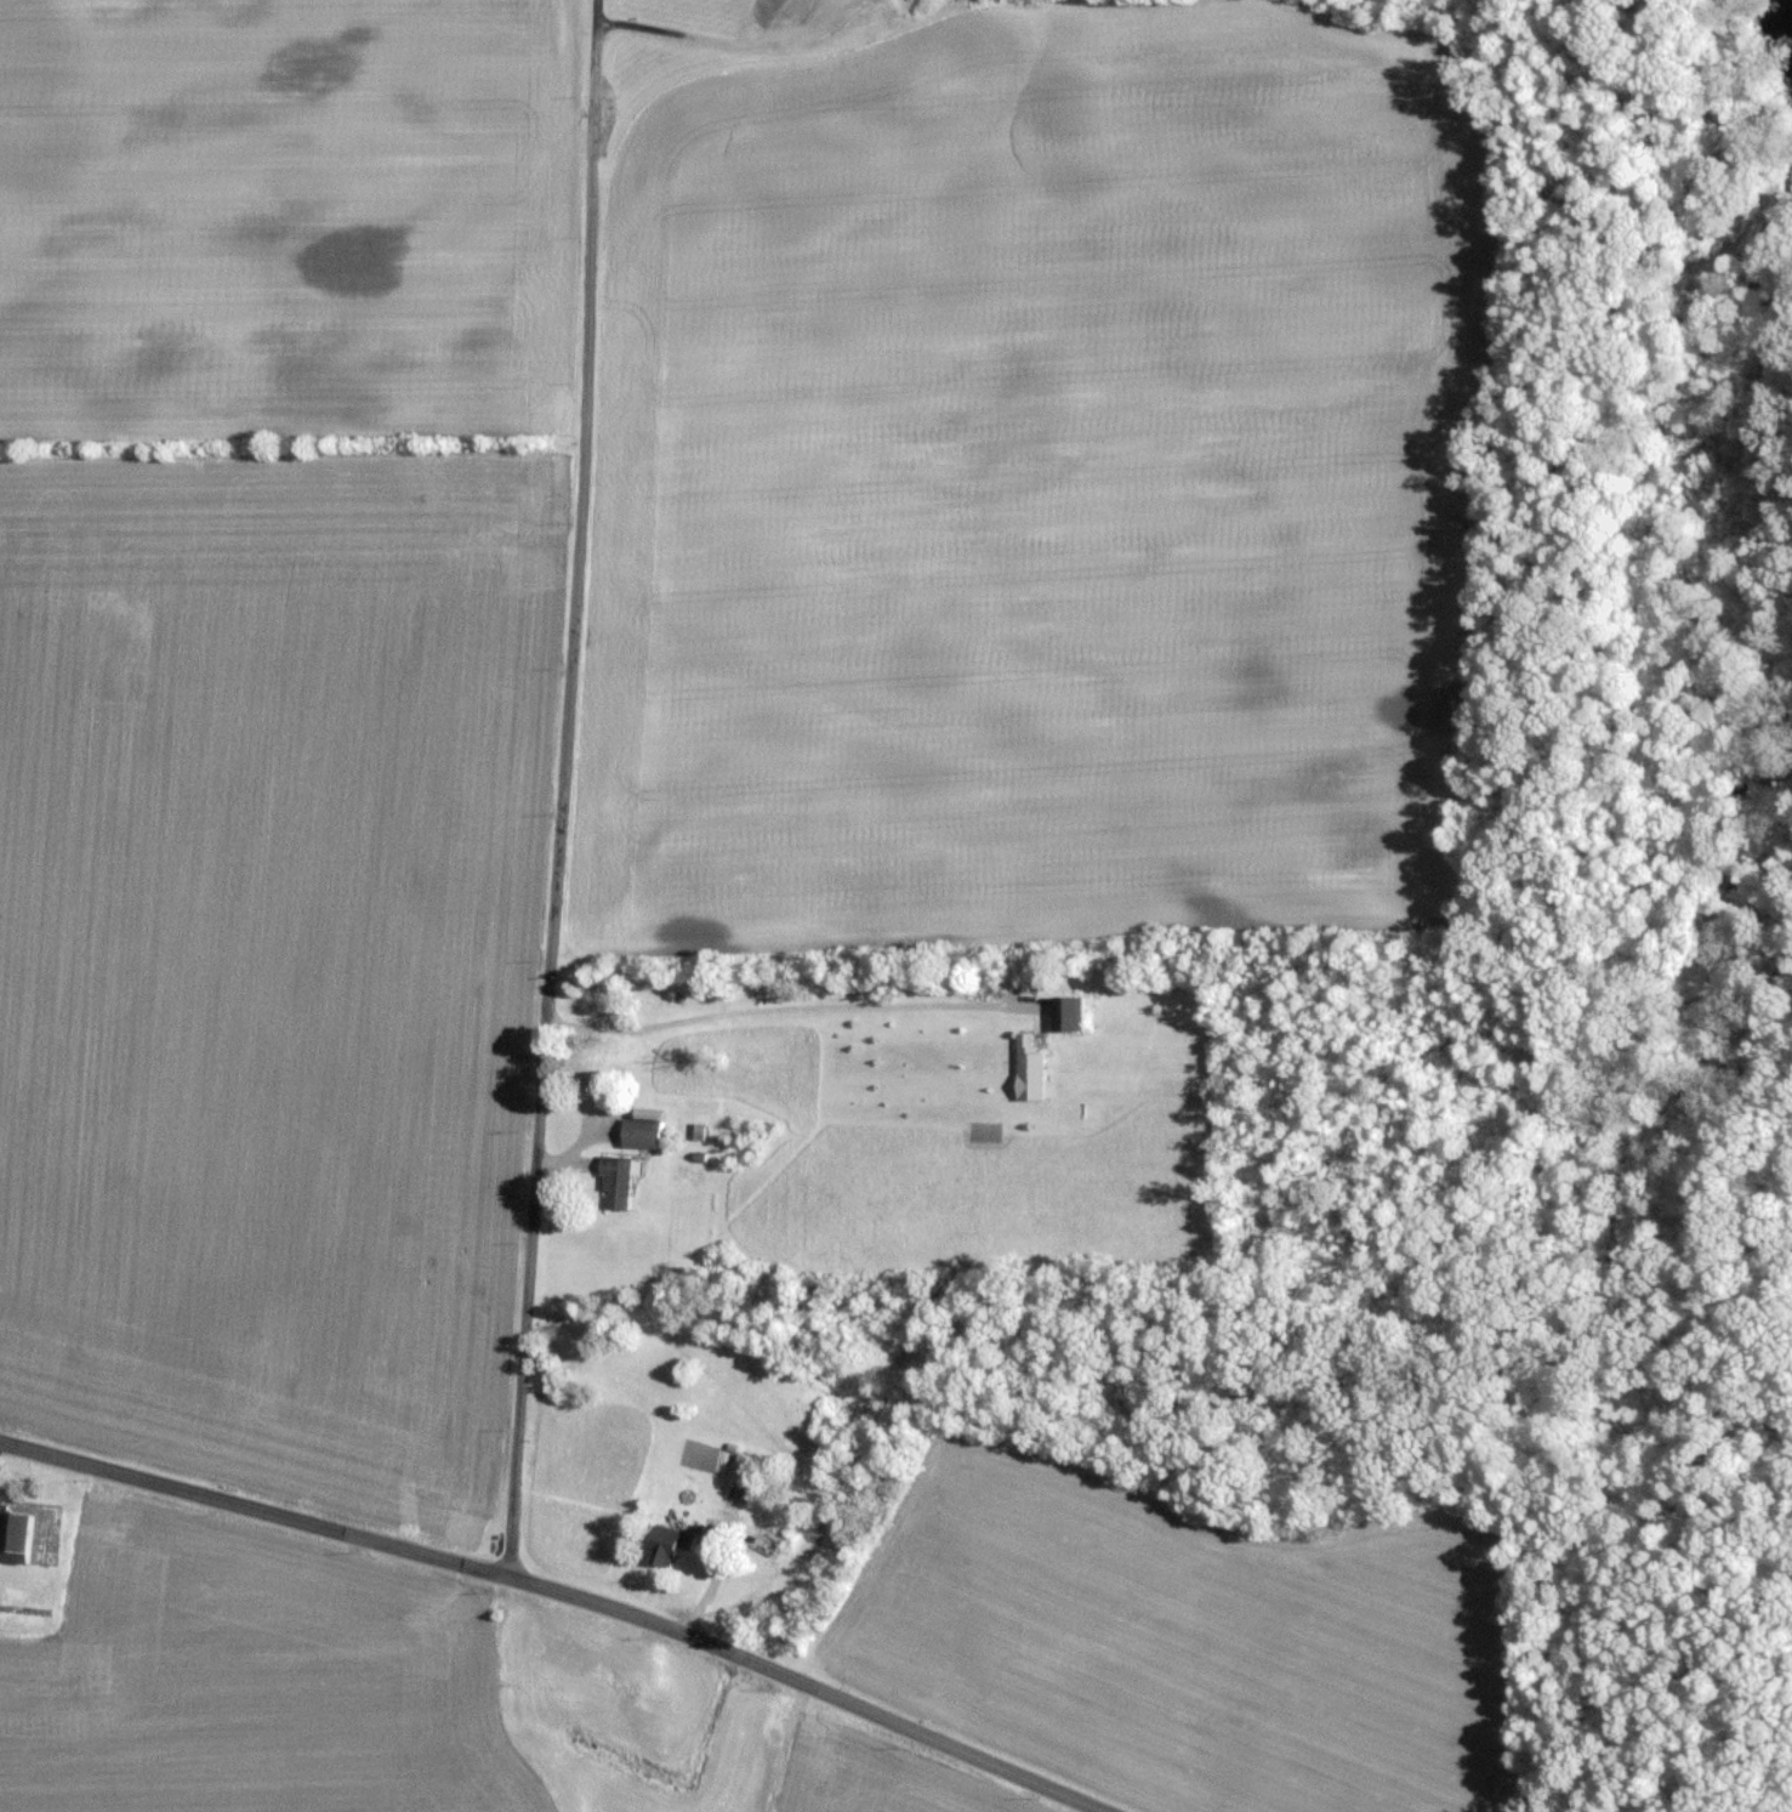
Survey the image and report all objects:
road: (597, 10)
road: (747, 46)
road: (553, 797)
road: (793, 1004)
building: (1066, 1013)
building: (1034, 1066)
building: (647, 1130)
building: (619, 1181)
building: (749, 1467)
building: (17, 1534)
building: (673, 1544)
road: (561, 1591)

